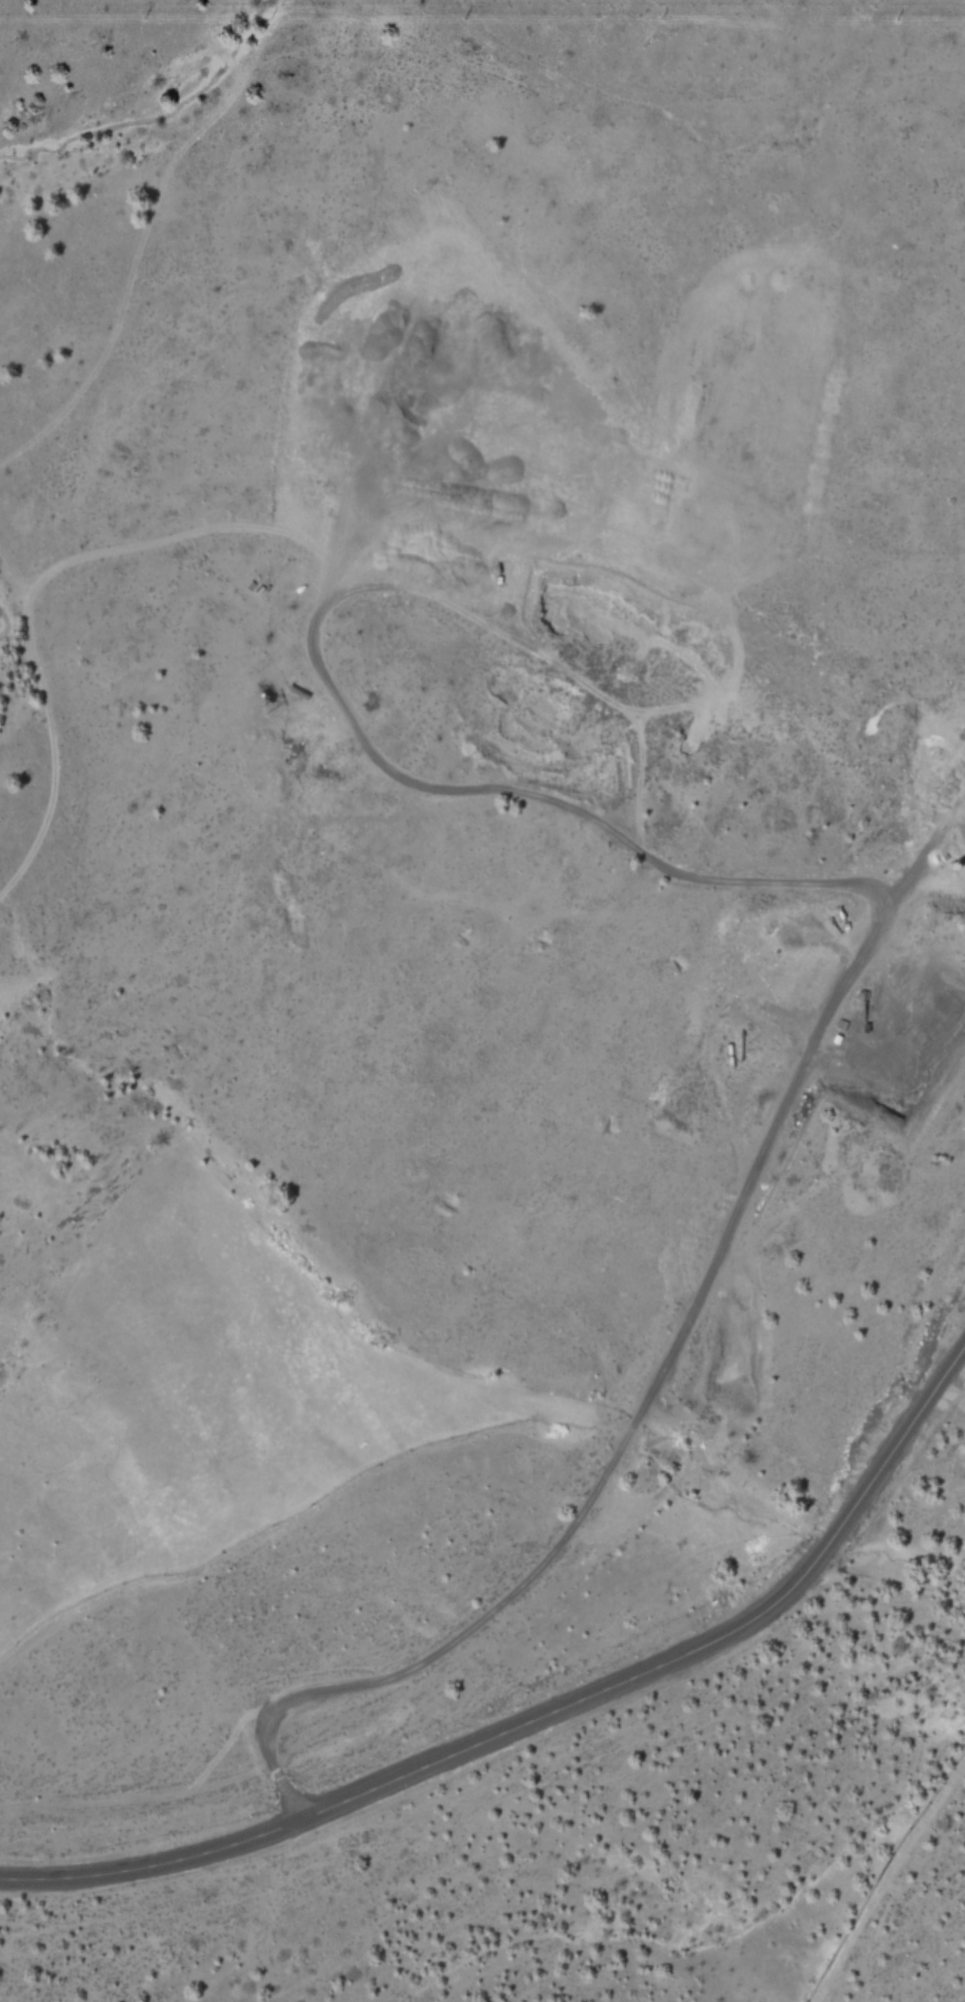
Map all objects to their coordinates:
road: (658, 1365)
road: (547, 1712)

